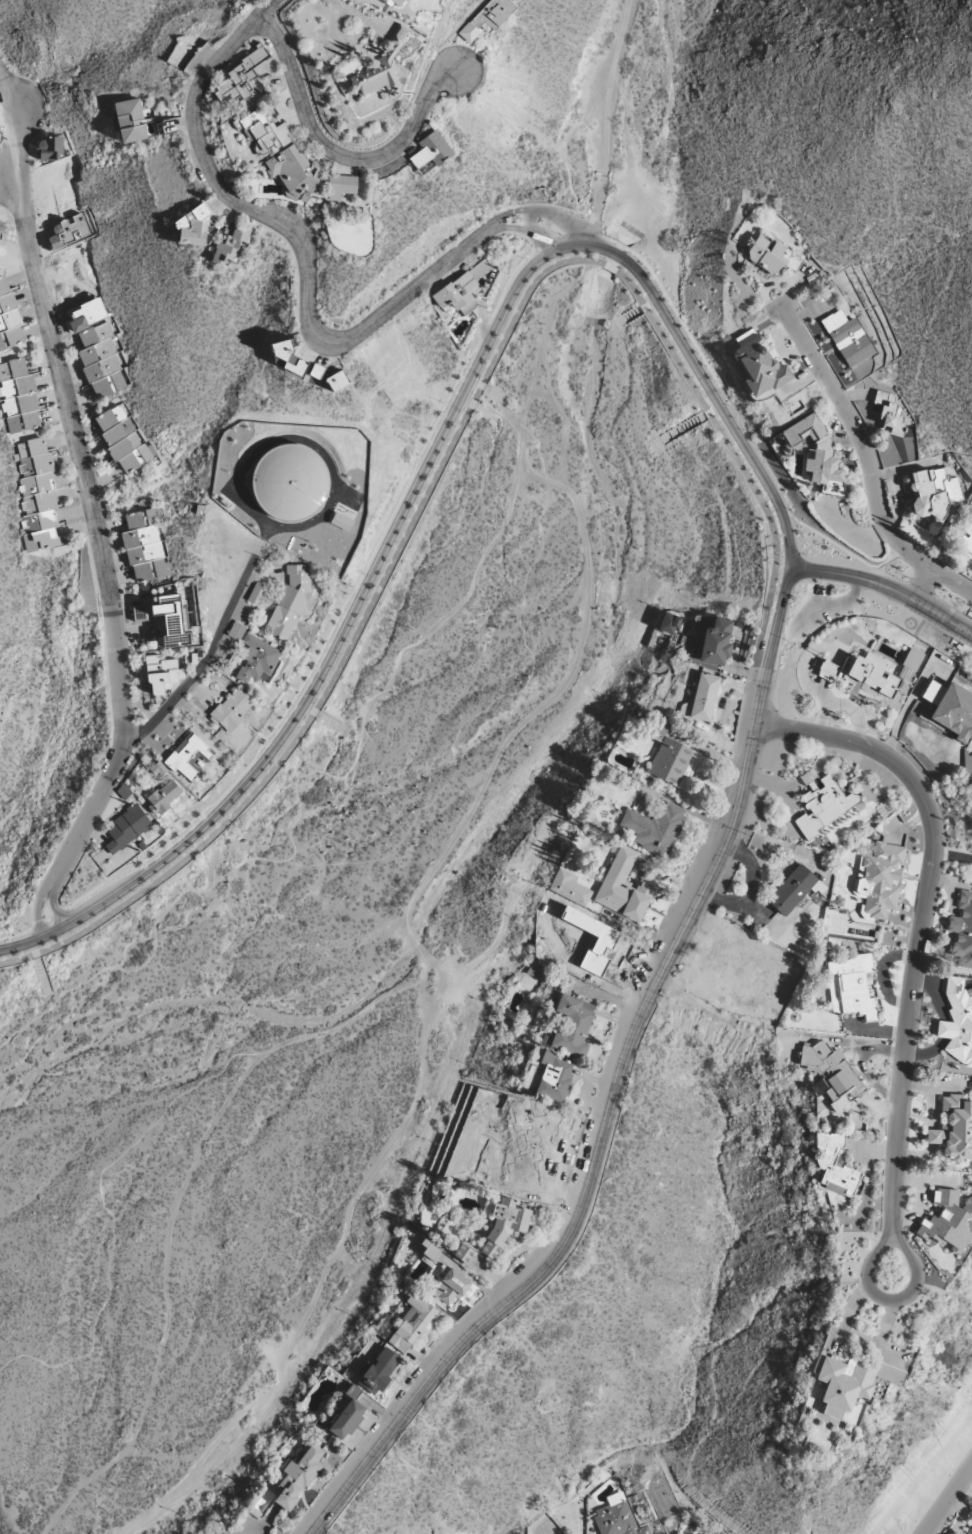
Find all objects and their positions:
building: (396, 3)
road: (264, 8)
building: (487, 18)
building: (382, 66)
building: (241, 81)
building: (129, 121)
road: (606, 122)
building: (264, 131)
building: (50, 148)
building: (430, 150)
road: (334, 153)
road: (629, 160)
building: (294, 169)
building: (341, 186)
road: (554, 213)
road: (495, 218)
road: (529, 219)
road: (547, 225)
building: (192, 227)
road: (498, 228)
building: (3, 229)
building: (67, 231)
road: (535, 234)
road: (562, 236)
building: (232, 246)
road: (299, 246)
building: (772, 255)
building: (459, 292)
road: (671, 303)
building: (9, 318)
road: (485, 330)
building: (848, 338)
building: (288, 357)
building: (101, 362)
building: (758, 364)
road: (537, 366)
building: (316, 370)
building: (336, 380)
road: (710, 391)
building: (18, 397)
road: (456, 408)
road: (490, 410)
building: (889, 411)
road: (565, 430)
building: (123, 439)
road: (452, 442)
building: (814, 449)
road: (868, 457)
road: (429, 459)
road: (519, 473)
road: (89, 484)
building: (290, 484)
storage tank: (290, 484)
building: (934, 491)
building: (37, 495)
building: (971, 529)
building: (965, 543)
building: (145, 547)
road: (924, 584)
road: (784, 585)
road: (886, 585)
building: (257, 594)
road: (800, 599)
building: (289, 602)
road: (829, 605)
parking lot: (822, 611)
building: (170, 620)
building: (668, 623)
building: (236, 630)
building: (714, 642)
road: (209, 652)
building: (258, 659)
building: (910, 664)
building: (863, 672)
building: (162, 673)
road: (561, 686)
road: (299, 690)
building: (932, 692)
building: (702, 696)
building: (232, 709)
building: (955, 713)
road: (469, 716)
building: (188, 755)
building: (670, 757)
building: (157, 769)
building: (971, 783)
building: (163, 796)
building: (824, 805)
building: (127, 827)
building: (655, 828)
building: (880, 879)
building: (569, 887)
building: (625, 887)
road: (53, 906)
road: (35, 910)
road: (59, 912)
road: (49, 919)
road: (923, 924)
road: (38, 925)
building: (962, 931)
road: (15, 935)
park: (336, 944)
building: (599, 948)
building: (850, 986)
building: (957, 1022)
building: (572, 1025)
building: (833, 1074)
building: (555, 1077)
road: (615, 1086)
building: (954, 1129)
building: (834, 1165)
building: (948, 1216)
building: (504, 1225)
building: (463, 1253)
road: (324, 1274)
building: (451, 1286)
road: (901, 1298)
building: (411, 1323)
building: (377, 1371)
building: (851, 1379)
building: (347, 1414)
building: (298, 1477)
road: (949, 1501)
building: (617, 1517)
building: (970, 1531)

